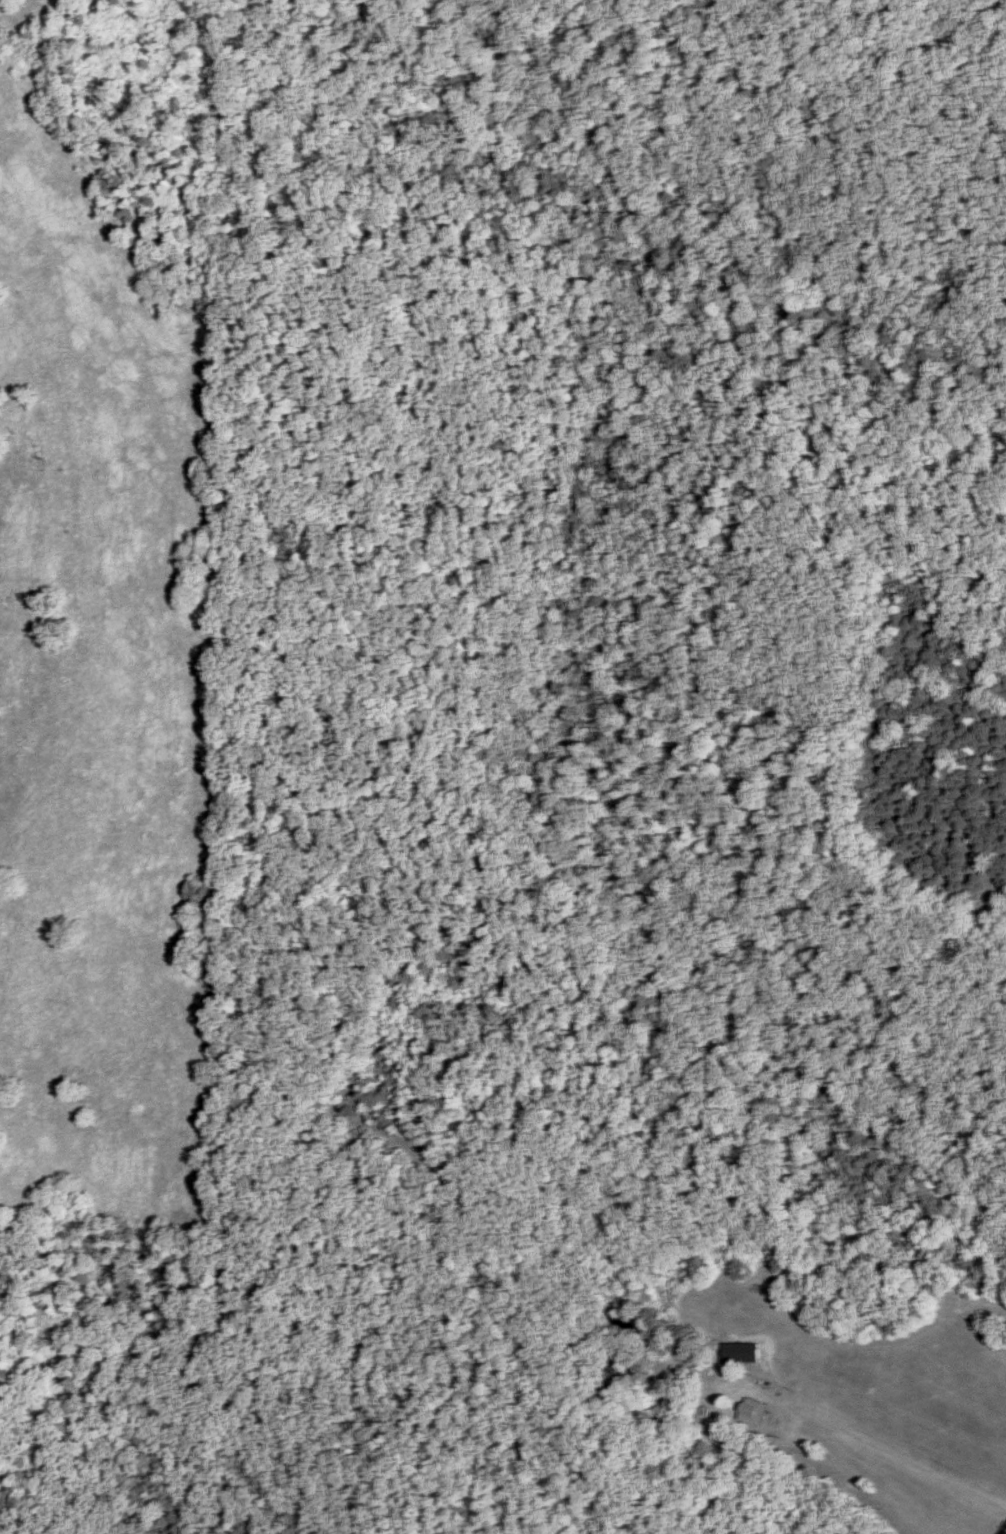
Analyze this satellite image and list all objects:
building: (755, 1412)

